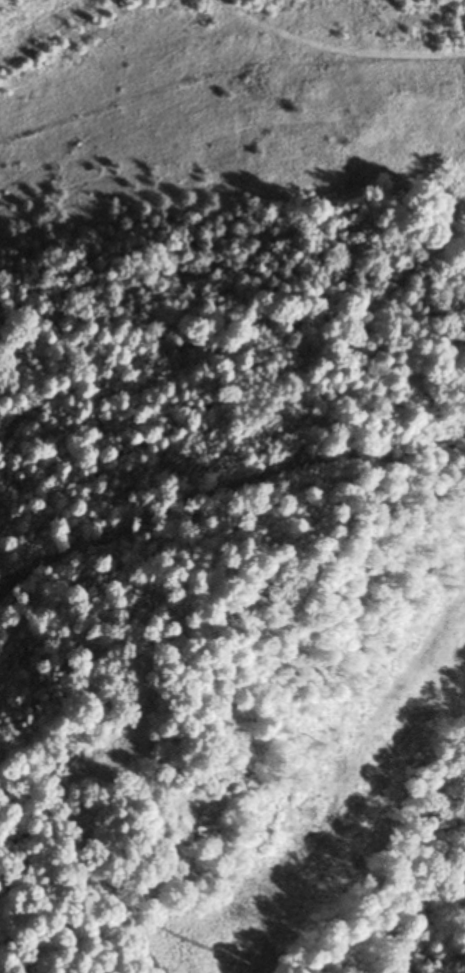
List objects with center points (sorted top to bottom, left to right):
power tower: (226, 954)

